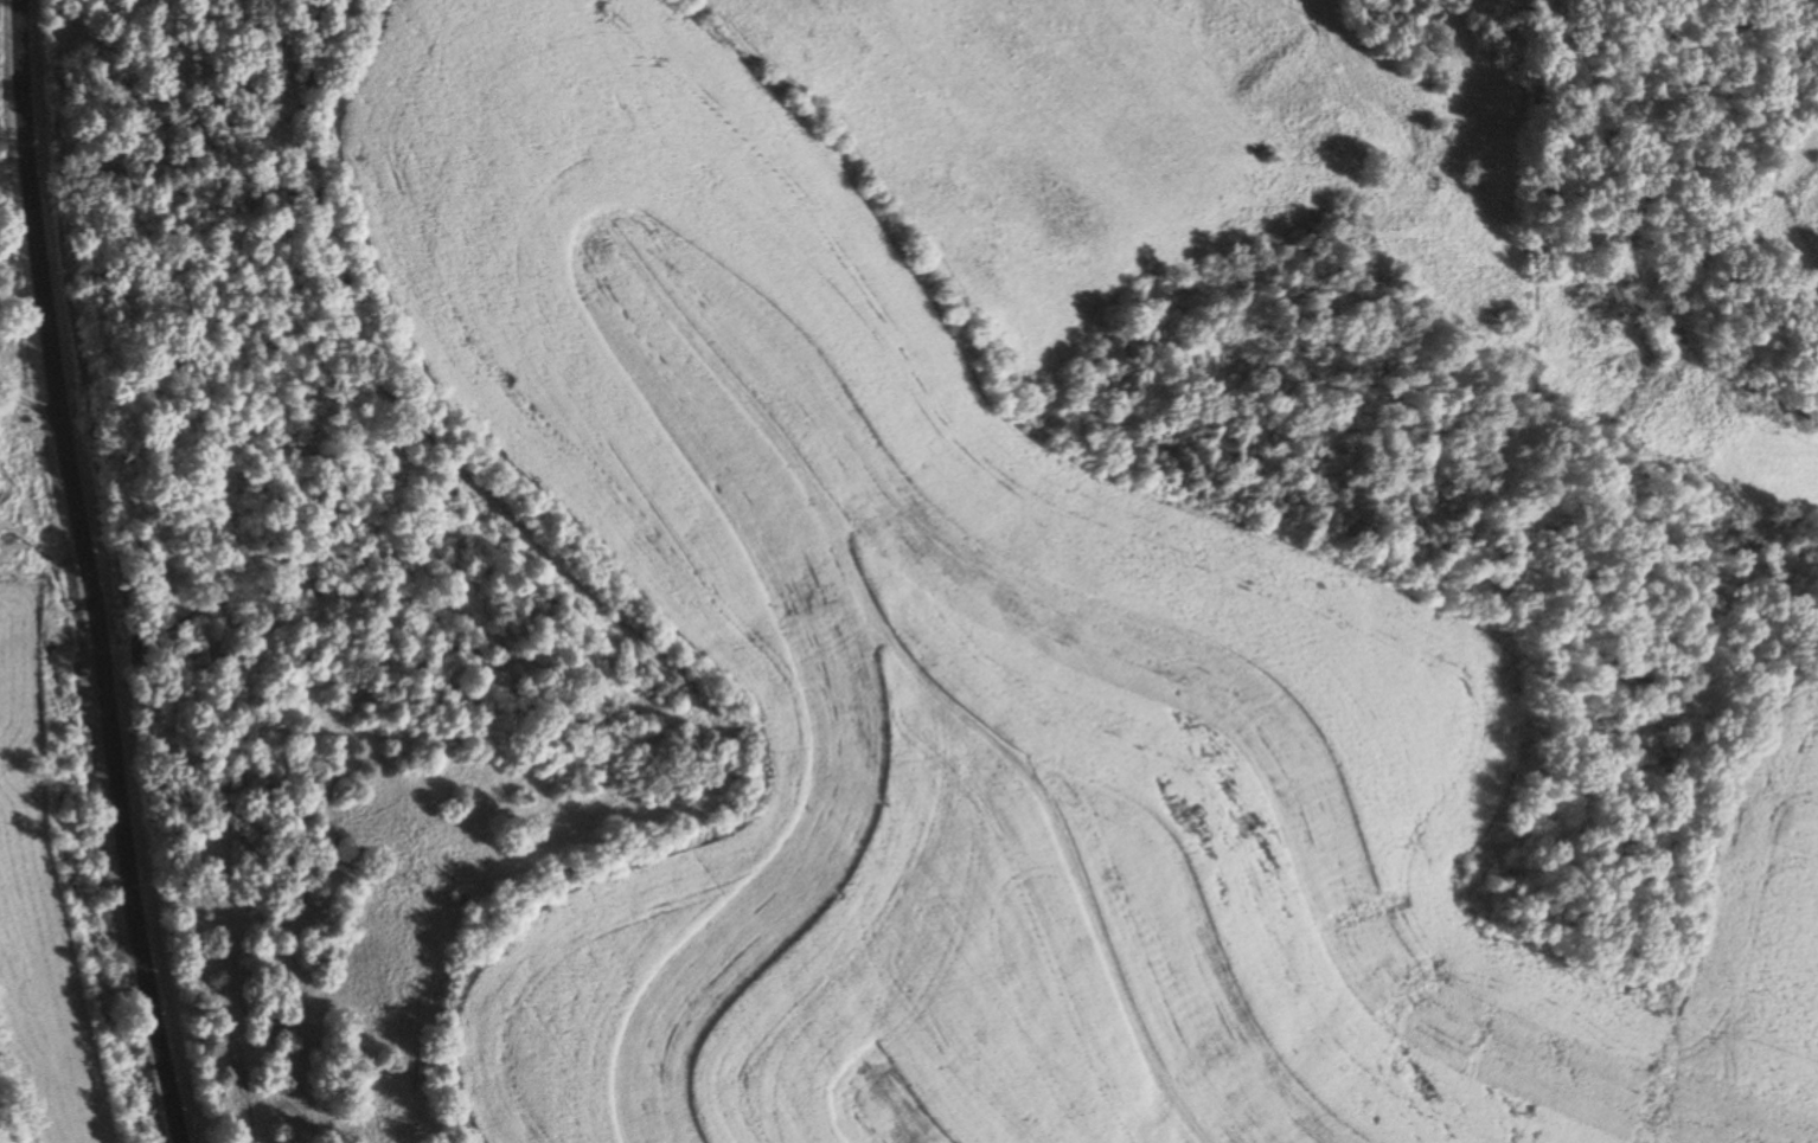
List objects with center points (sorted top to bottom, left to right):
road: (31, 405)
road: (88, 572)

